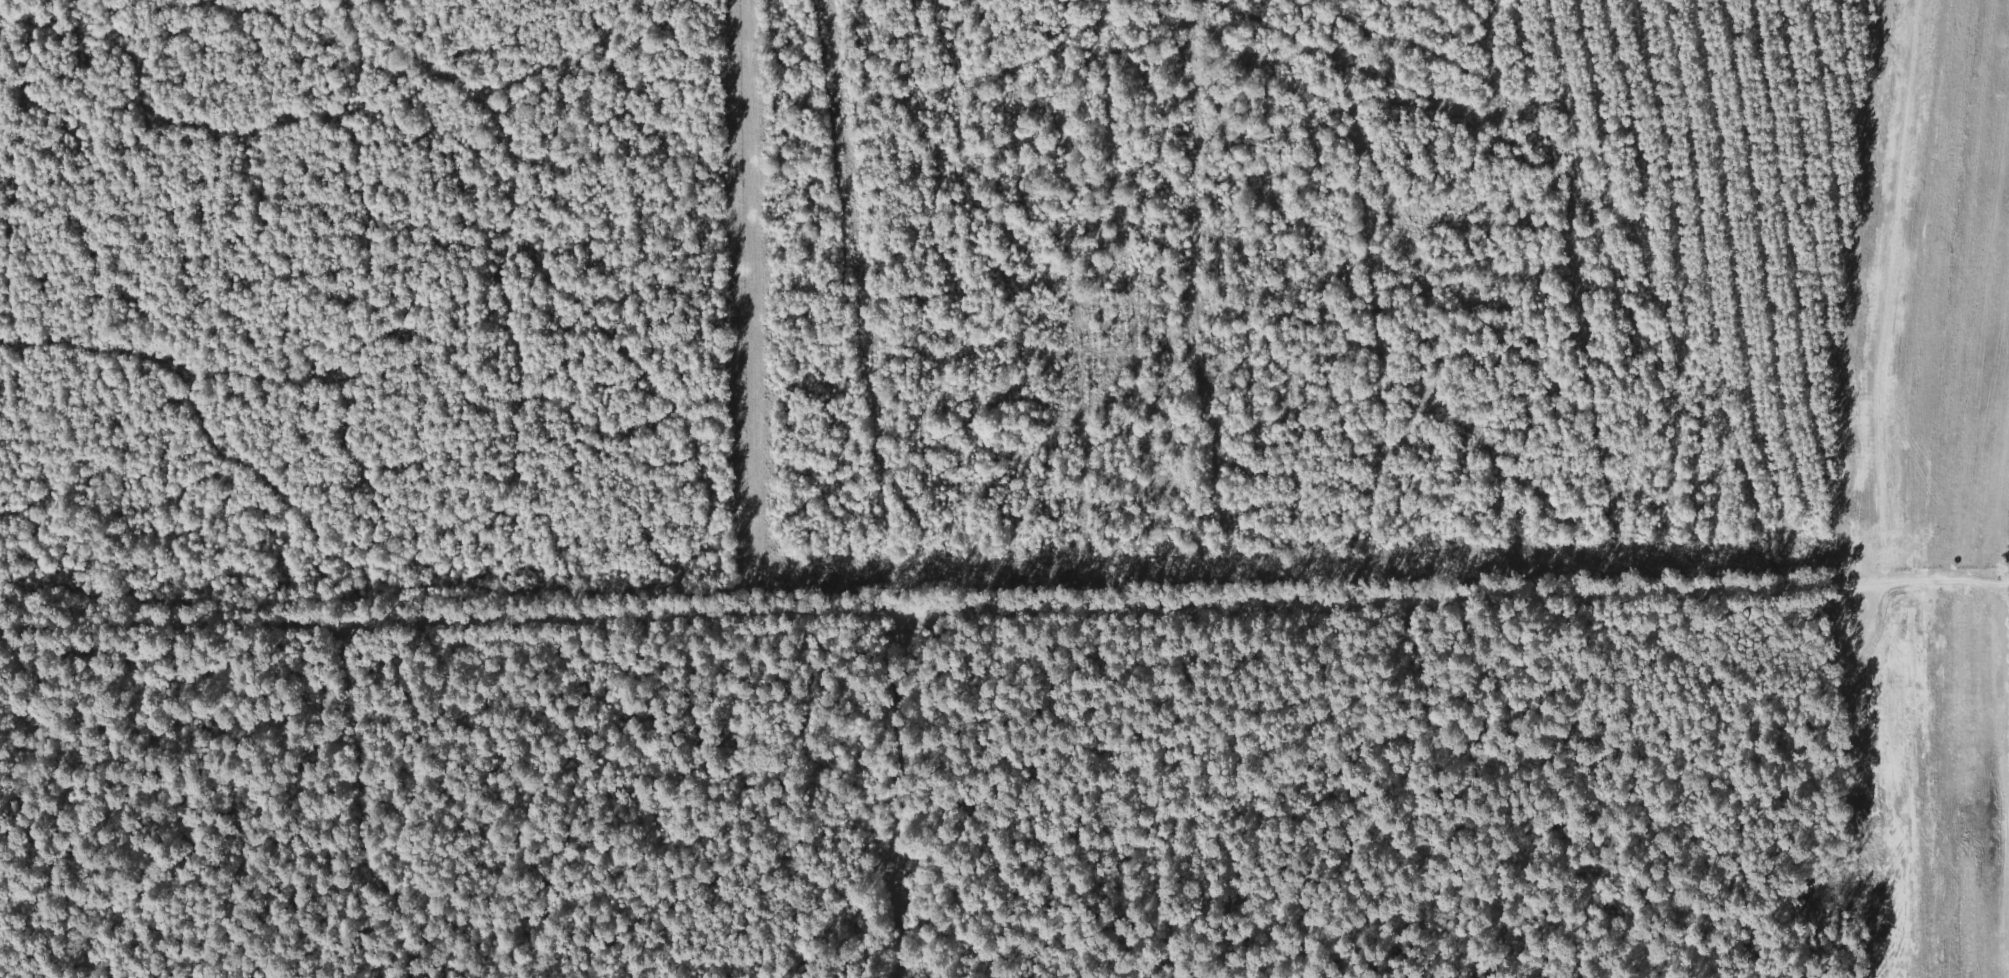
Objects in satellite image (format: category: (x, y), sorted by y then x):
road: (1673, 584)

